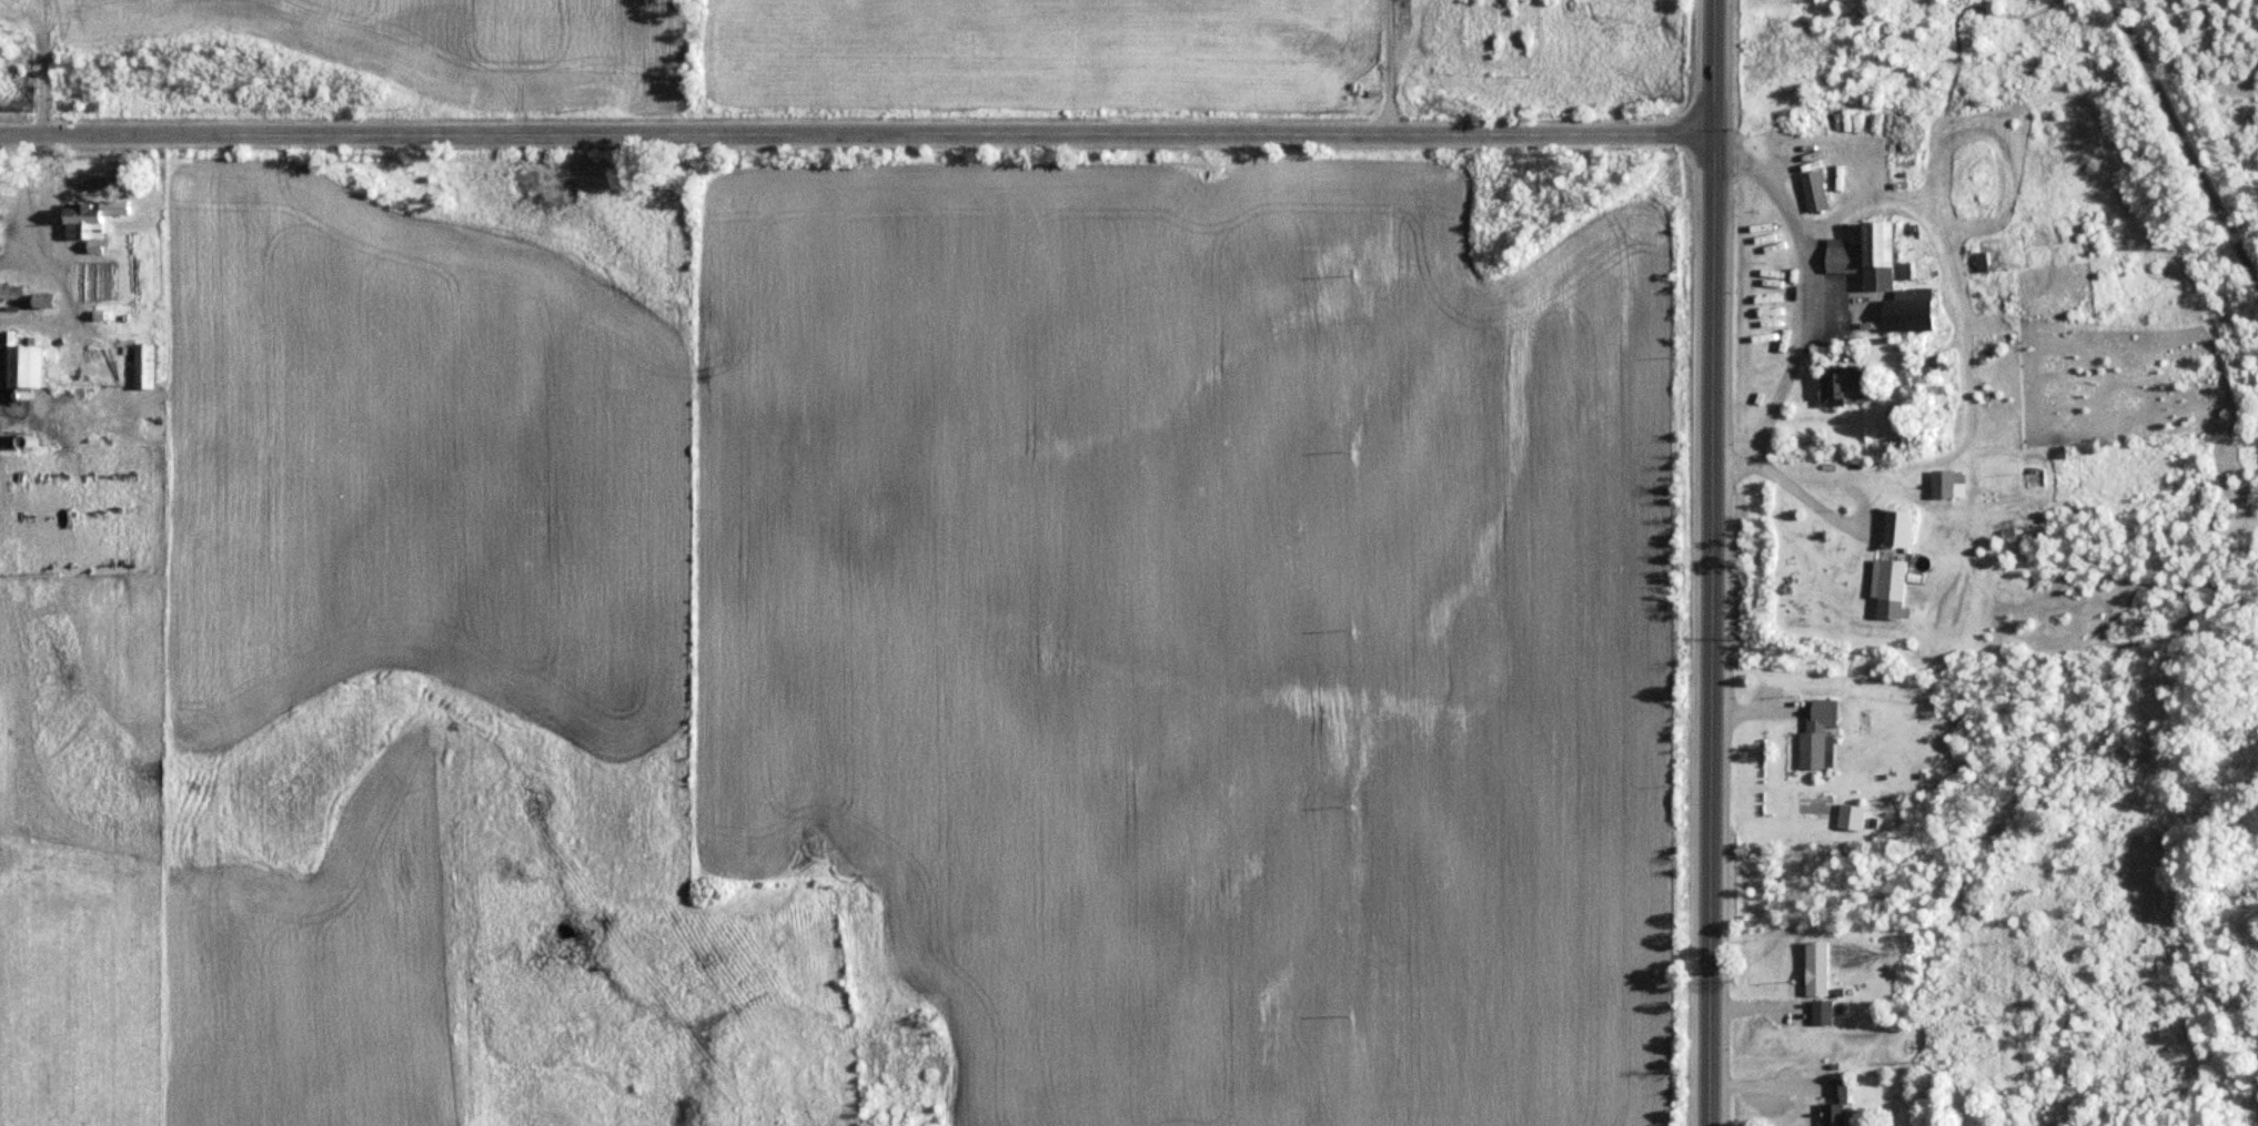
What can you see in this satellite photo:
road: (2186, 135)
road: (849, 140)
building: (1811, 190)
building: (80, 221)
building: (1878, 280)
building: (19, 364)
building: (141, 364)
building: (1837, 384)
building: (1944, 483)
building: (1893, 527)
road: (1703, 562)
building: (1887, 588)
building: (1814, 734)
building: (1814, 968)
building: (1818, 1012)
road: (2255, 1094)
building: (1833, 1105)

